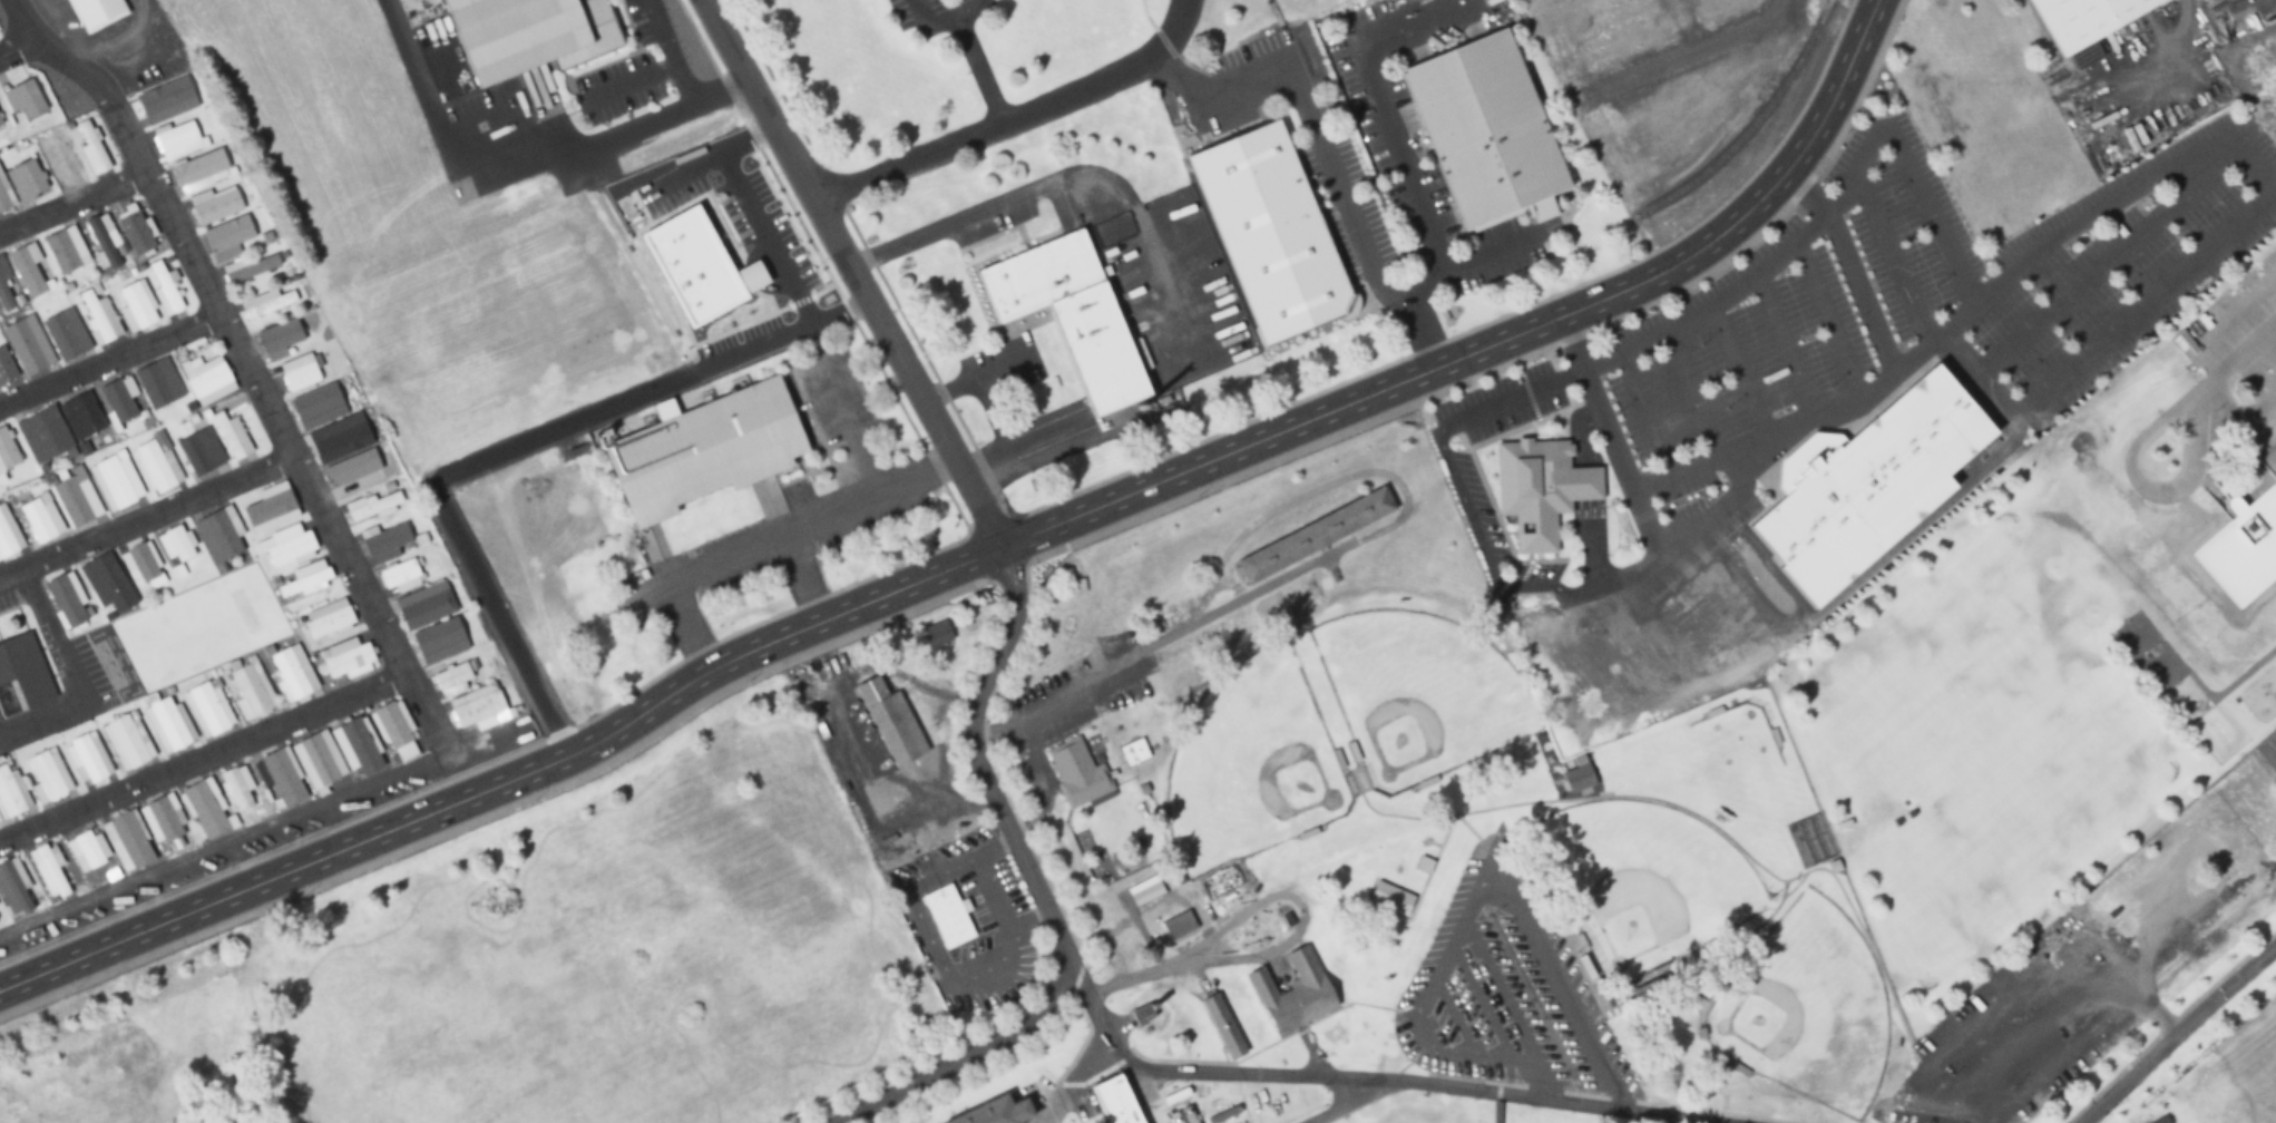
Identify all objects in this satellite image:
building: (2199, 0)
building: (2216, 0)
building: (96, 12)
road: (940, 13)
building: (2083, 18)
building: (526, 32)
road: (16, 46)
road: (1683, 55)
road: (977, 66)
road: (668, 69)
road: (682, 81)
building: (25, 99)
building: (167, 100)
road: (1386, 110)
road: (1013, 117)
road: (1308, 120)
railway: (1758, 120)
road: (618, 123)
building: (0, 125)
building: (1485, 129)
building: (178, 140)
building: (92, 148)
building: (66, 158)
road: (693, 164)
building: (201, 172)
building: (28, 180)
building: (4, 195)
road: (76, 203)
building: (215, 205)
building: (134, 230)
building: (1272, 233)
road: (764, 234)
building: (105, 238)
building: (234, 238)
road: (1789, 241)
building: (66, 251)
road: (2103, 261)
road: (1848, 266)
building: (251, 268)
building: (27, 272)
road: (850, 273)
road: (2174, 276)
road: (1433, 280)
building: (7, 287)
building: (166, 289)
building: (267, 304)
building: (137, 306)
building: (98, 314)
building: (1069, 314)
road: (1826, 316)
road: (225, 320)
building: (66, 333)
road: (1495, 338)
building: (279, 340)
road: (1782, 343)
building: (28, 344)
road: (2240, 353)
road: (110, 357)
road: (1524, 357)
building: (6, 368)
building: (301, 373)
building: (207, 379)
building: (163, 387)
road: (1692, 391)
building: (118, 400)
building: (315, 403)
road: (1647, 411)
building: (81, 414)
road: (2237, 422)
road: (2257, 429)
building: (43, 434)
building: (232, 437)
building: (331, 443)
building: (705, 449)
building: (199, 451)
building: (7, 455)
road: (481, 458)
building: (157, 463)
building: (353, 473)
building: (116, 481)
building: (1866, 485)
building: (1540, 488)
road: (2146, 490)
road: (1583, 491)
building: (77, 498)
building: (372, 507)
building: (271, 508)
road: (145, 516)
building: (40, 518)
building: (8, 535)
building: (1313, 535)
building: (218, 536)
road: (1672, 539)
building: (387, 544)
building: (177, 545)
building: (287, 546)
road: (1022, 558)
building: (140, 563)
building: (401, 577)
building: (305, 582)
building: (107, 584)
building: (67, 599)
building: (426, 606)
road: (1019, 606)
building: (328, 619)
building: (432, 641)
building: (346, 660)
building: (25, 670)
building: (292, 674)
building: (251, 692)
park: (1417, 694)
building: (470, 699)
building: (208, 710)
building: (890, 720)
building: (167, 724)
building: (395, 731)
building: (127, 742)
building: (1132, 751)
building: (338, 754)
road: (202, 758)
building: (88, 759)
park: (1248, 764)
building: (1075, 772)
building: (1577, 774)
building: (48, 775)
building: (279, 780)
road: (506, 782)
building: (238, 788)
building: (11, 791)
road: (501, 807)
building: (206, 809)
building: (160, 821)
building: (127, 842)
building: (85, 851)
road: (1028, 862)
building: (49, 870)
park: (1645, 880)
building: (13, 883)
road: (1466, 906)
building: (946, 916)
building: (0, 921)
building: (1176, 925)
park: (520, 955)
building: (1292, 992)
road: (1500, 993)
building: (1642, 994)
road: (1477, 1004)
park: (1805, 1008)
building: (1140, 1014)
road: (1448, 1017)
road: (2166, 1023)
building: (1221, 1025)
road: (2176, 1035)
road: (966, 1055)
road: (1475, 1078)
road: (1364, 1082)
road: (1496, 1087)
road: (1546, 1087)
road: (1584, 1093)
road: (1618, 1097)
building: (1113, 1102)
road: (1334, 1103)
road: (1495, 1109)
building: (995, 1112)
road: (1728, 1112)
building: (2160, 1120)

